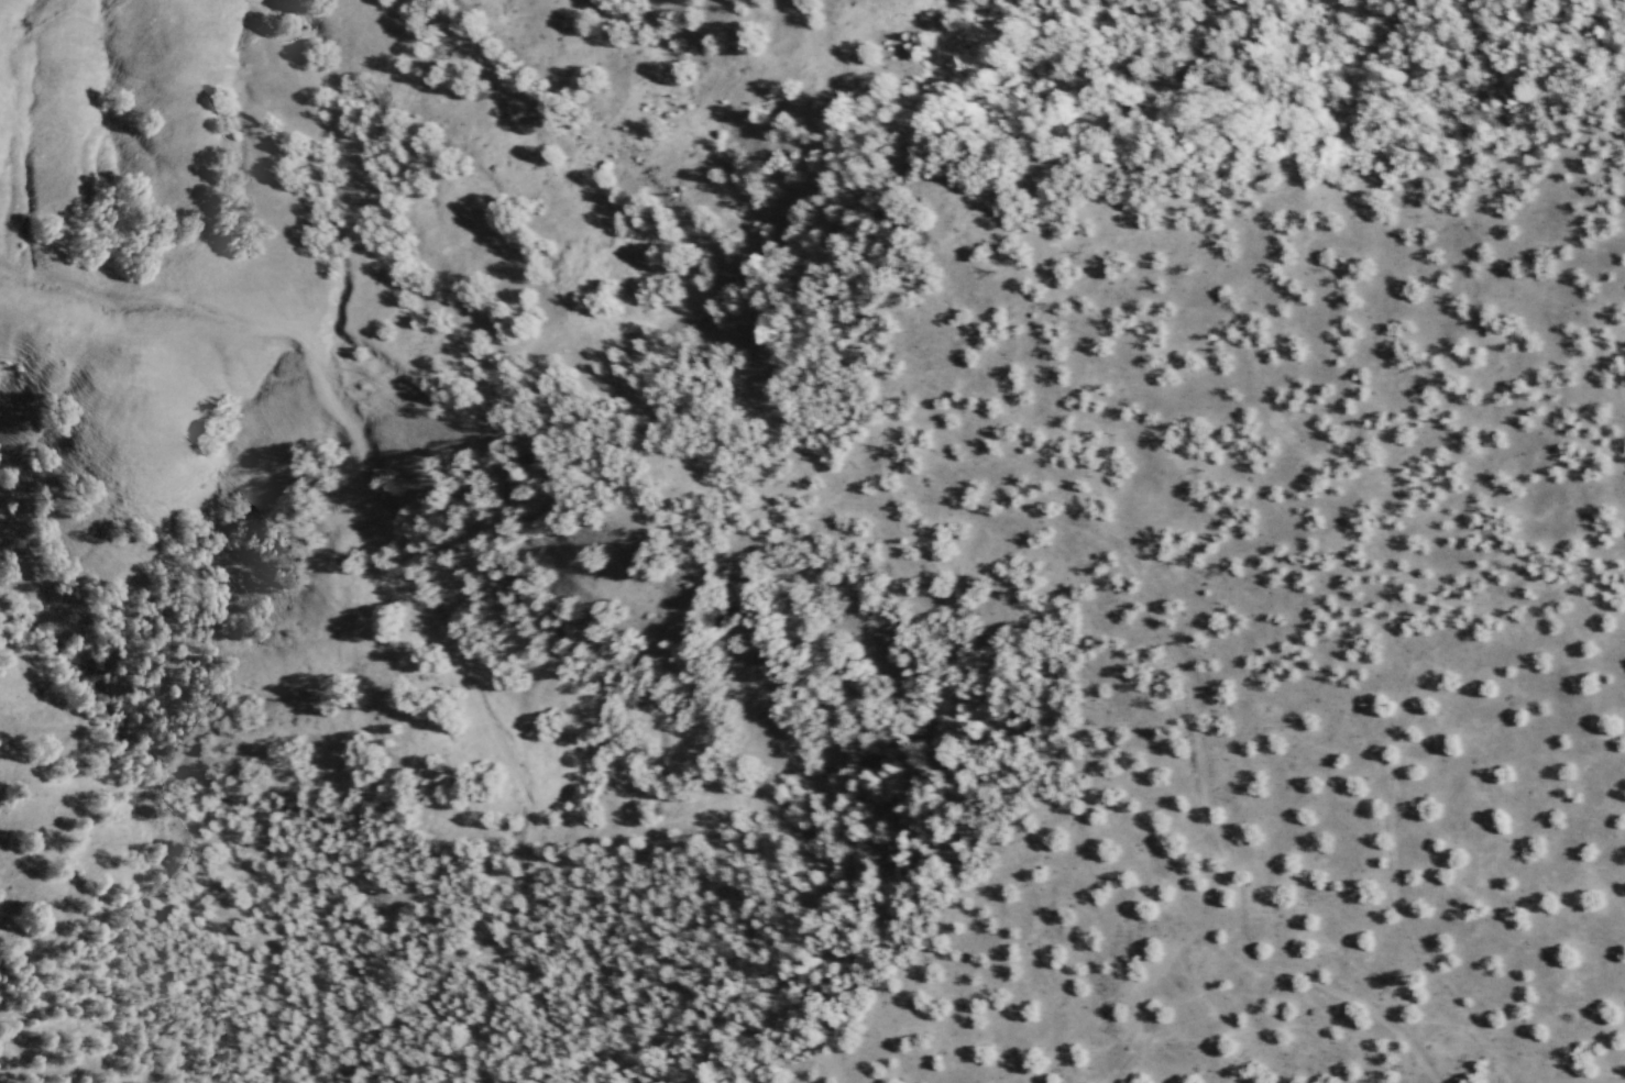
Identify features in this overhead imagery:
road: (1269, 963)
road: (1583, 1080)

